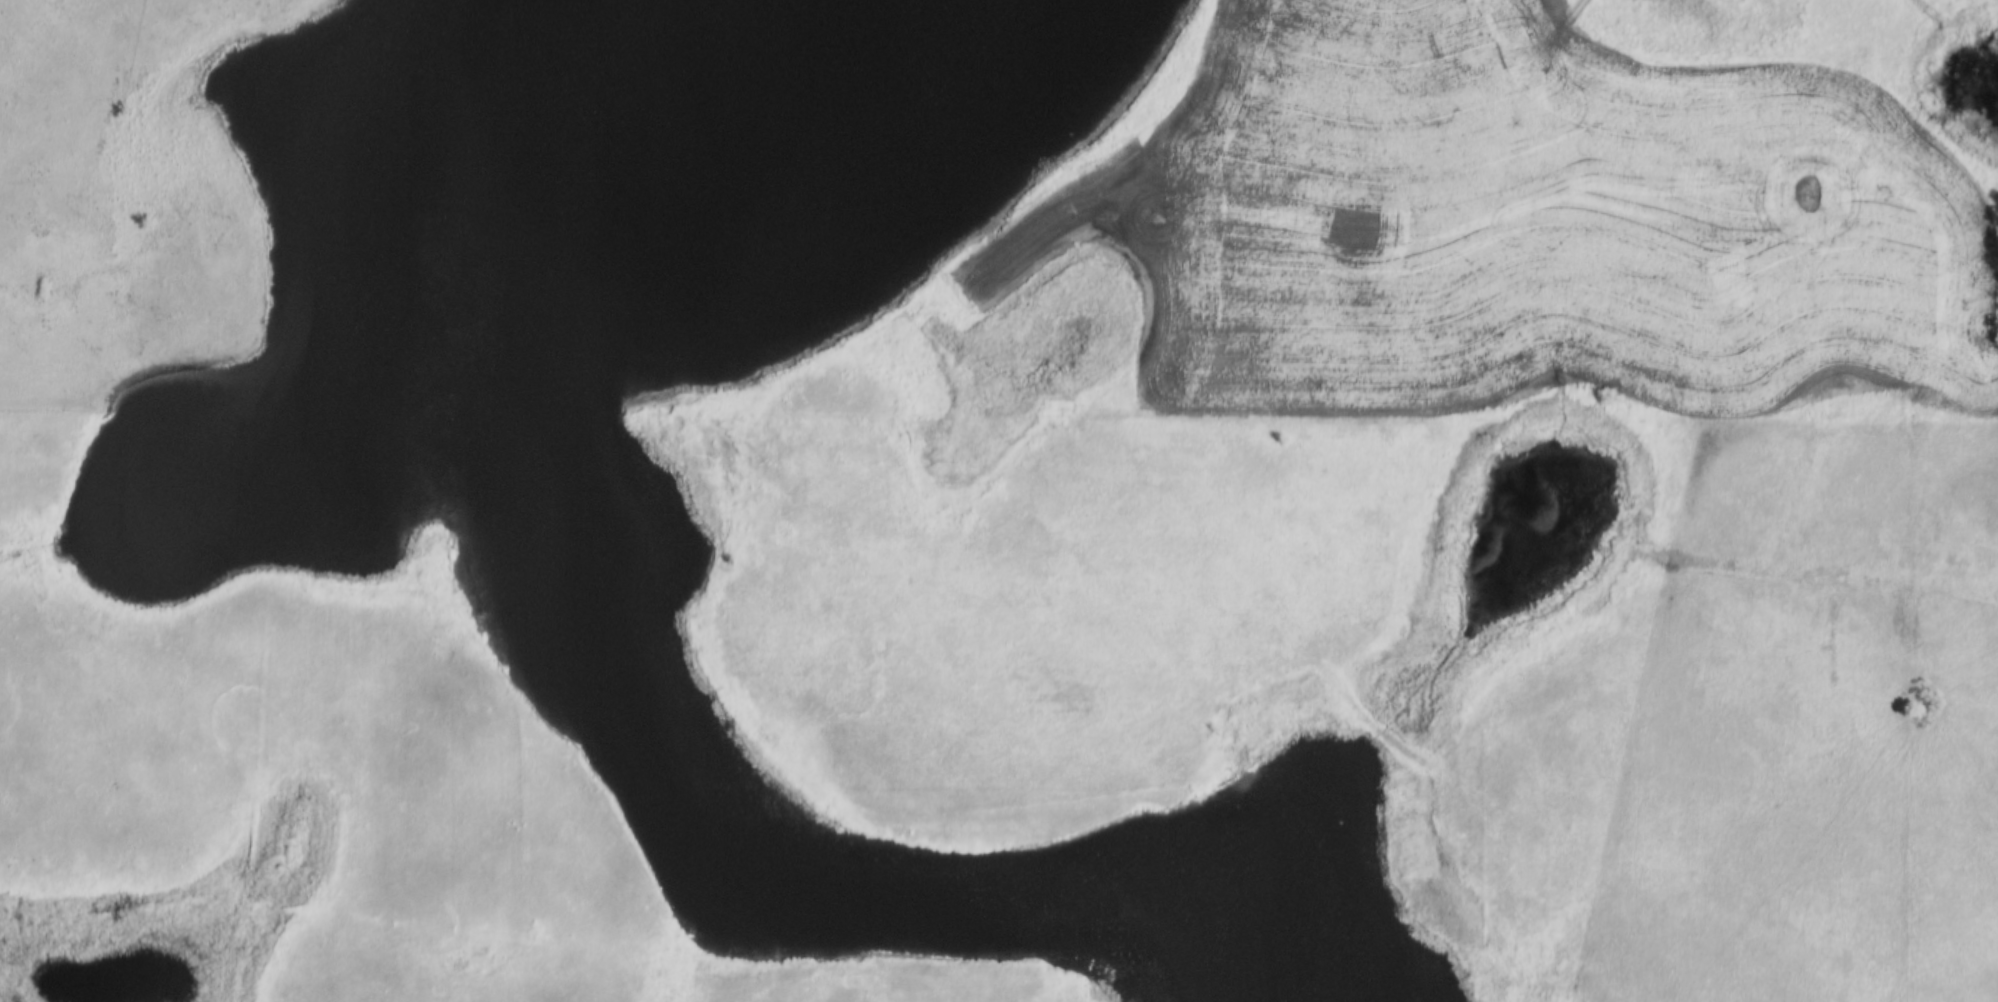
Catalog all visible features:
river: (520, 526)

